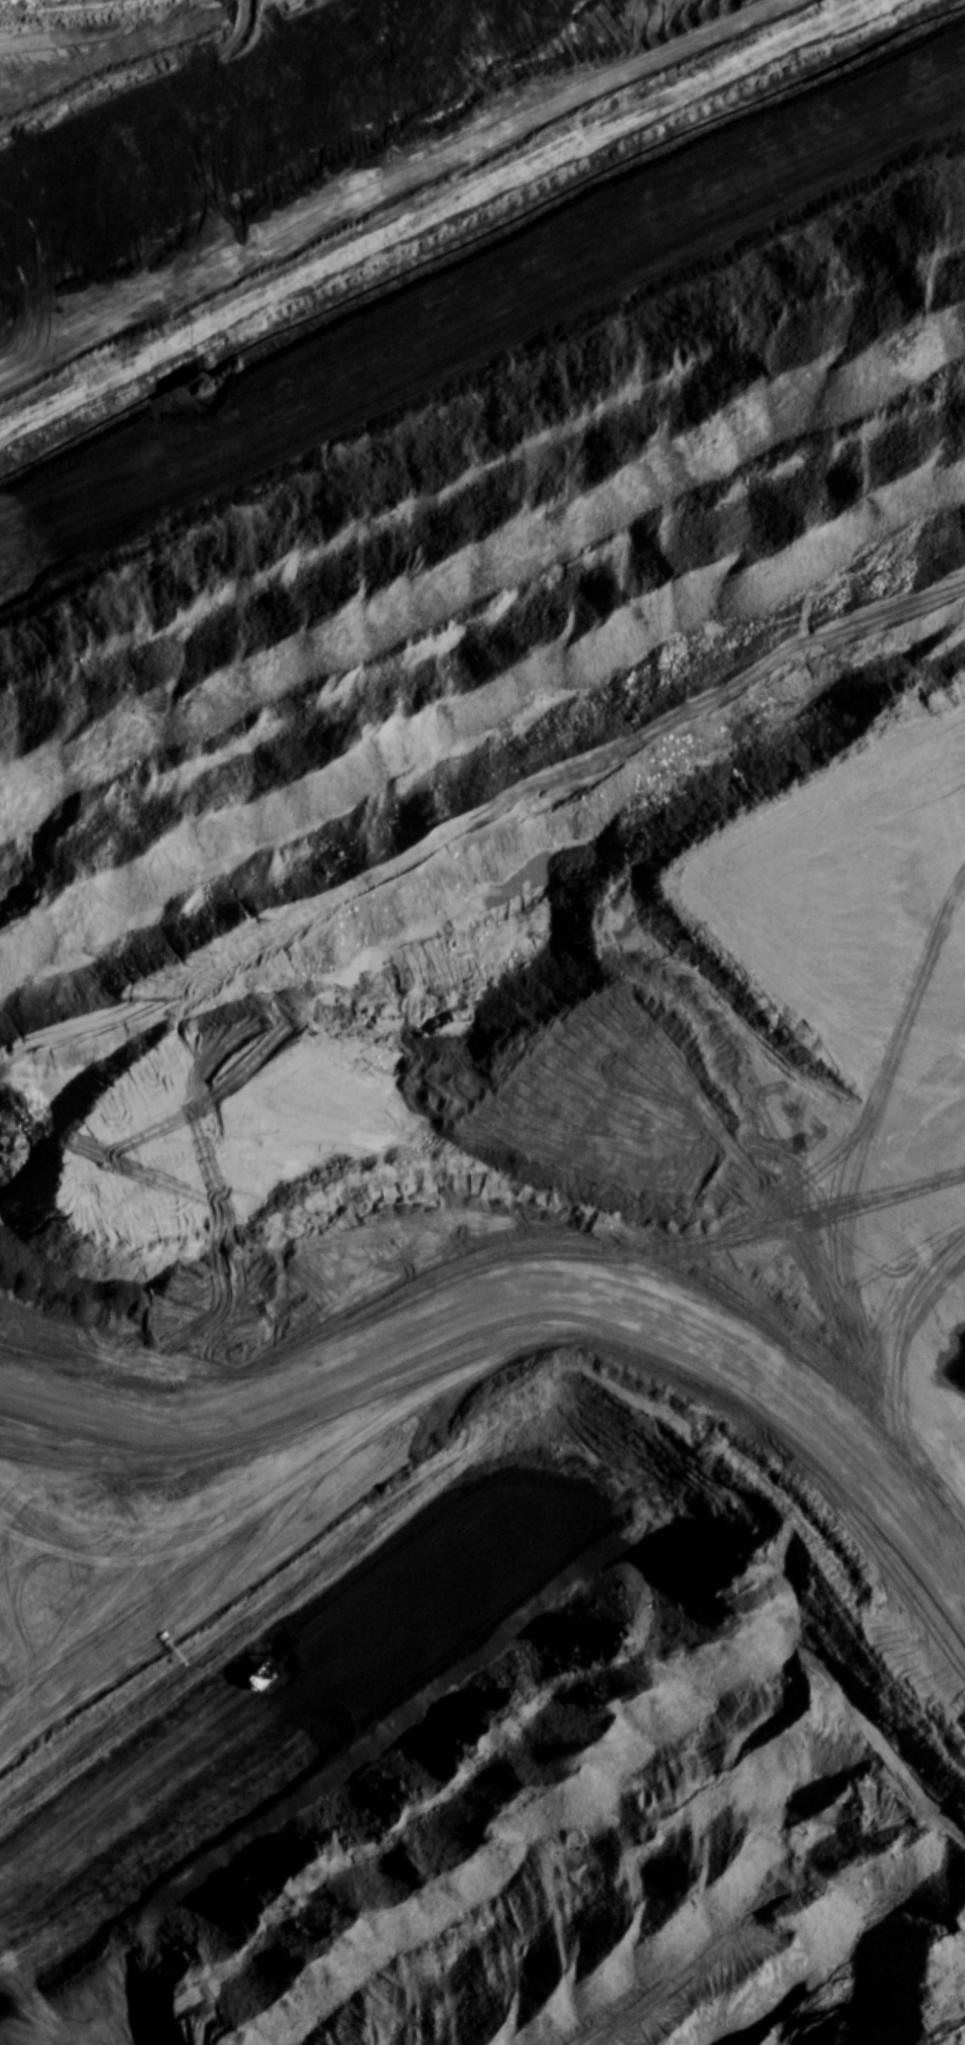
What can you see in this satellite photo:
road: (482, 16)
road: (271, 187)
building: (280, 345)

